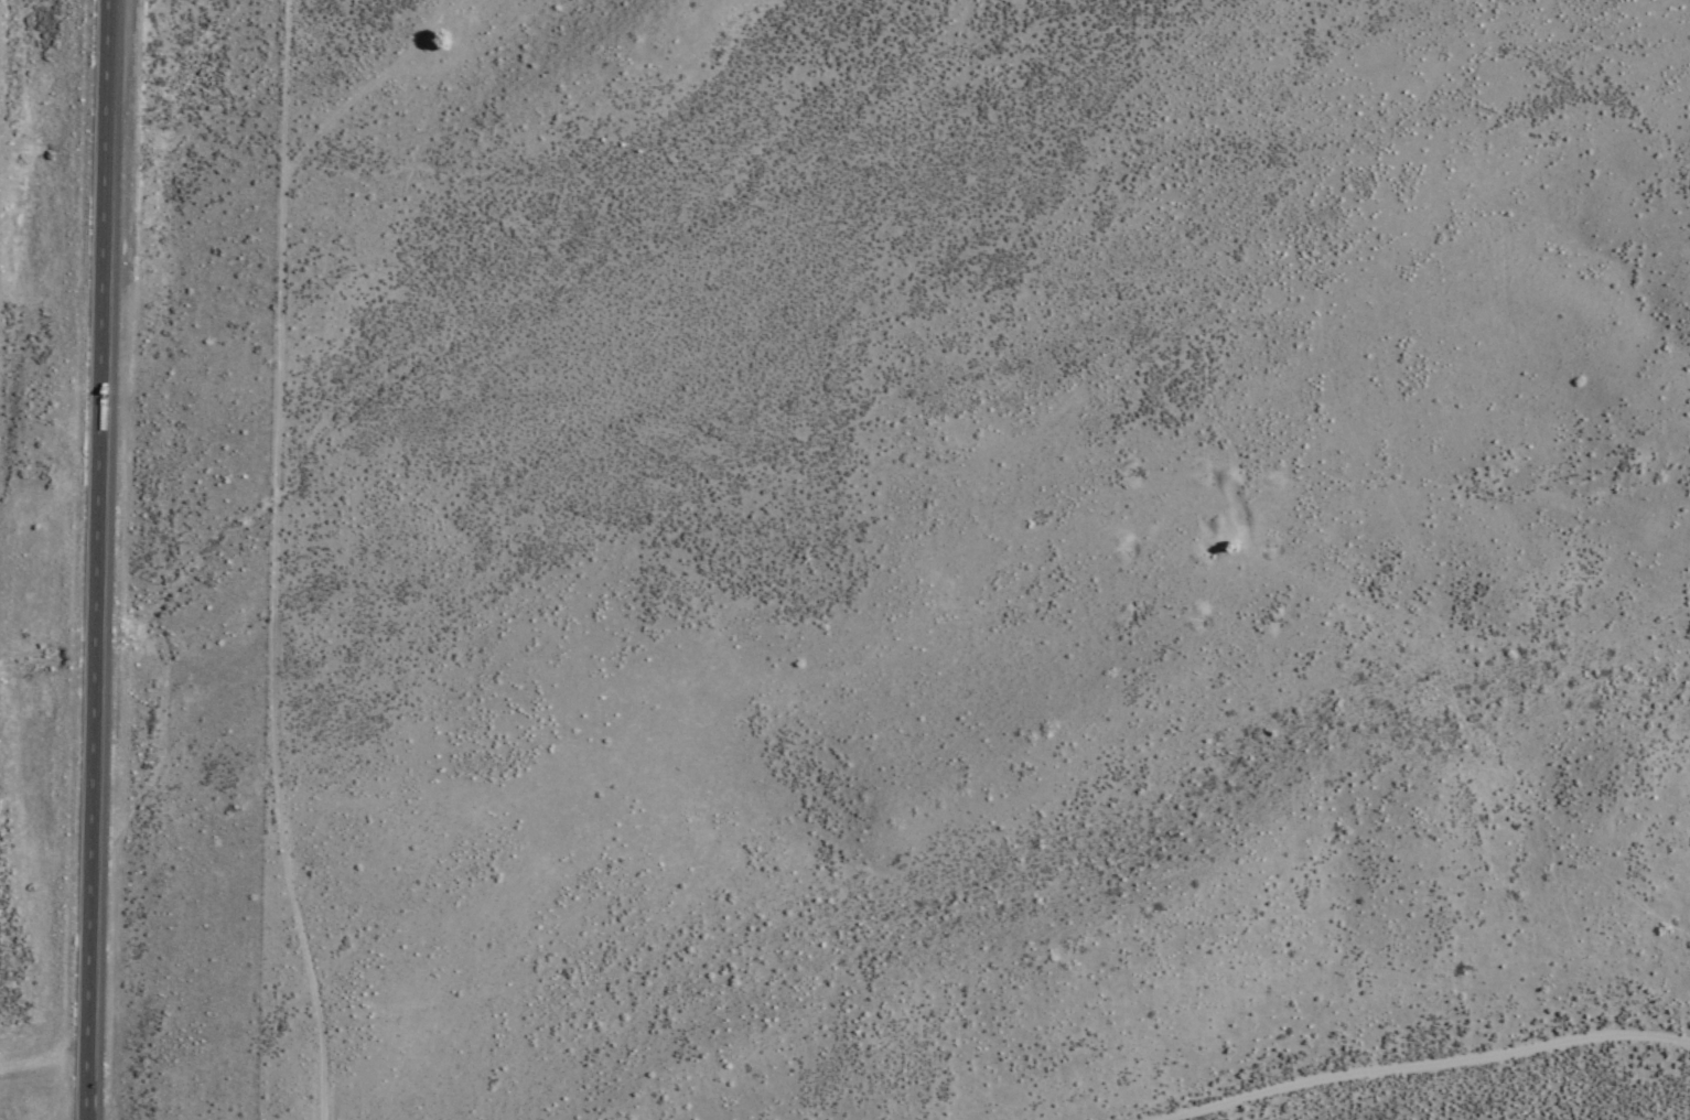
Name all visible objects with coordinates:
crop: (257, 347)
road: (97, 559)
road: (275, 561)
crop: (1537, 1067)
road: (1453, 1073)

